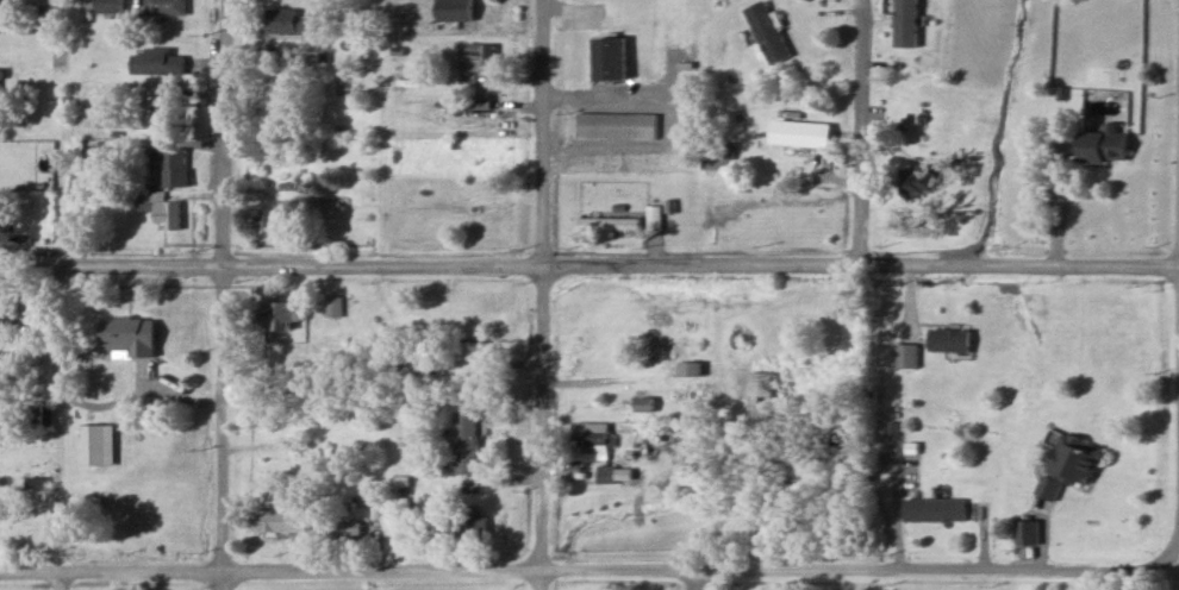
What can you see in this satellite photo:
building: (2, 5)
building: (108, 7)
building: (163, 7)
building: (458, 10)
building: (46, 13)
building: (291, 21)
building: (911, 23)
building: (772, 33)
building: (476, 57)
building: (615, 58)
building: (157, 61)
building: (0, 105)
building: (168, 111)
building: (618, 126)
building: (812, 132)
road: (860, 132)
building: (1105, 144)
building: (478, 159)
building: (176, 168)
building: (919, 180)
road: (1059, 199)
building: (168, 215)
building: (487, 216)
building: (279, 218)
building: (610, 222)
road: (588, 264)
road: (219, 295)
road: (537, 295)
building: (285, 316)
building: (2, 318)
building: (407, 318)
building: (133, 335)
building: (949, 340)
building: (905, 354)
building: (762, 387)
building: (645, 404)
building: (597, 435)
building: (466, 441)
building: (95, 445)
building: (306, 450)
building: (1071, 466)
building: (902, 472)
building: (604, 475)
building: (35, 484)
building: (934, 510)
building: (285, 521)
building: (467, 527)
building: (339, 528)
building: (1024, 533)
road: (562, 567)
road: (1160, 569)
road: (64, 580)

